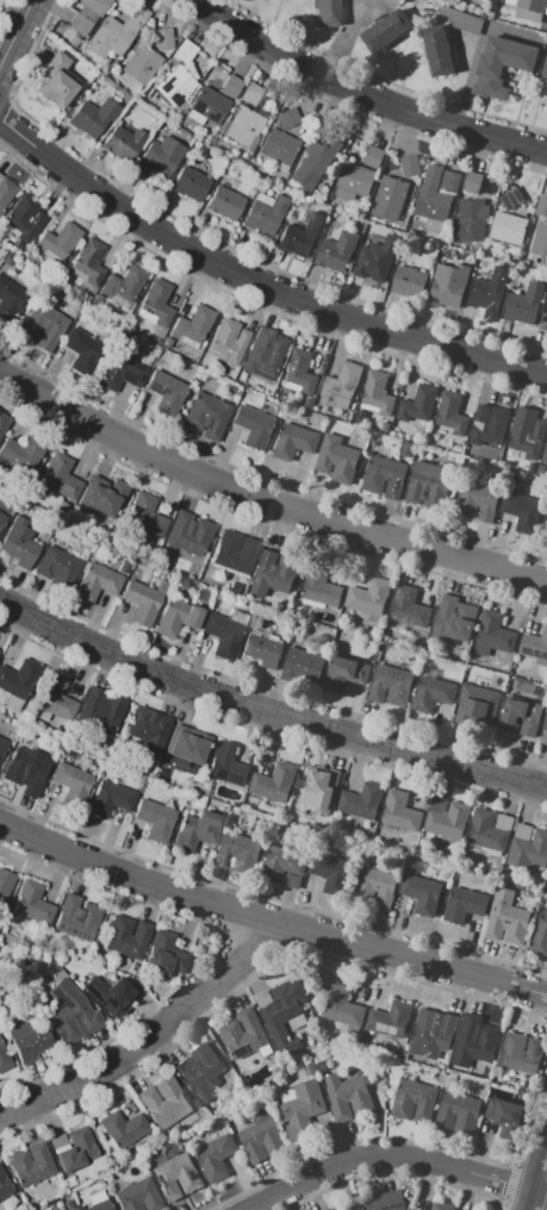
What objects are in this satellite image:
building: (393, 2)
building: (529, 8)
building: (327, 13)
building: (88, 14)
building: (386, 30)
building: (117, 32)
building: (163, 38)
road: (344, 40)
road: (20, 42)
building: (437, 50)
building: (185, 51)
building: (501, 63)
building: (142, 66)
building: (545, 69)
building: (56, 81)
building: (176, 85)
building: (232, 87)
road: (369, 91)
building: (251, 94)
building: (209, 106)
building: (94, 117)
building: (288, 118)
building: (244, 127)
building: (322, 129)
building: (124, 143)
building: (279, 149)
building: (373, 157)
building: (161, 158)
building: (315, 163)
building: (410, 166)
building: (354, 181)
building: (449, 182)
building: (471, 182)
building: (191, 183)
building: (6, 192)
building: (433, 197)
building: (391, 198)
building: (511, 199)
building: (225, 204)
building: (541, 206)
building: (266, 213)
building: (23, 218)
building: (471, 220)
building: (509, 229)
building: (540, 239)
building: (296, 241)
building: (58, 242)
building: (336, 251)
building: (377, 258)
building: (88, 263)
road: (257, 281)
building: (408, 281)
building: (448, 285)
building: (125, 286)
building: (489, 291)
building: (11, 300)
building: (156, 304)
building: (524, 304)
building: (543, 320)
building: (44, 326)
building: (193, 326)
building: (229, 341)
building: (82, 350)
building: (266, 361)
building: (122, 373)
building: (299, 374)
building: (341, 385)
building: (167, 393)
building: (377, 395)
building: (307, 403)
building: (418, 404)
building: (450, 414)
building: (207, 416)
building: (4, 423)
building: (254, 425)
building: (490, 425)
building: (528, 432)
building: (293, 442)
building: (23, 453)
building: (545, 456)
building: (336, 459)
building: (384, 475)
building: (61, 476)
building: (428, 486)
building: (104, 497)
building: (477, 500)
road: (260, 503)
building: (522, 512)
building: (145, 516)
building: (1, 519)
building: (191, 536)
building: (19, 543)
building: (234, 551)
building: (174, 562)
building: (58, 568)
building: (124, 568)
building: (273, 573)
building: (98, 582)
building: (321, 587)
building: (235, 588)
building: (369, 597)
building: (144, 601)
building: (409, 607)
building: (178, 617)
building: (456, 620)
building: (225, 631)
building: (493, 635)
building: (535, 647)
building: (263, 649)
building: (303, 667)
building: (344, 674)
building: (18, 682)
building: (391, 686)
building: (431, 694)
building: (55, 698)
building: (480, 703)
building: (101, 710)
road: (267, 710)
building: (520, 715)
building: (149, 728)
building: (543, 734)
building: (2, 746)
building: (187, 746)
building: (226, 763)
building: (26, 771)
building: (274, 782)
building: (72, 784)
building: (312, 793)
building: (111, 798)
building: (361, 804)
building: (399, 811)
building: (447, 818)
building: (156, 819)
building: (198, 830)
building: (489, 830)
building: (528, 847)
building: (240, 853)
building: (284, 866)
building: (331, 872)
building: (6, 884)
building: (374, 886)
building: (421, 894)
building: (33, 903)
building: (464, 904)
building: (77, 918)
building: (506, 919)
road: (268, 923)
building: (129, 936)
building: (540, 936)
building: (166, 954)
building: (112, 994)
building: (262, 997)
building: (341, 1008)
building: (73, 1012)
building: (285, 1013)
building: (390, 1019)
building: (431, 1031)
building: (244, 1034)
building: (30, 1041)
road: (149, 1042)
building: (477, 1046)
building: (522, 1053)
building: (4, 1059)
building: (325, 1066)
building: (201, 1071)
building: (287, 1094)
building: (348, 1097)
building: (414, 1100)
building: (164, 1103)
building: (304, 1109)
building: (458, 1112)
building: (506, 1116)
building: (125, 1129)
building: (261, 1137)
building: (75, 1149)
building: (216, 1155)
road: (390, 1156)
building: (31, 1164)
building: (176, 1177)
road: (539, 1183)
building: (5, 1184)
building: (138, 1196)
building: (386, 1200)
building: (97, 1202)
building: (441, 1205)
building: (348, 1208)
building: (328, 1209)
building: (410, 1209)
building: (412, 1209)

